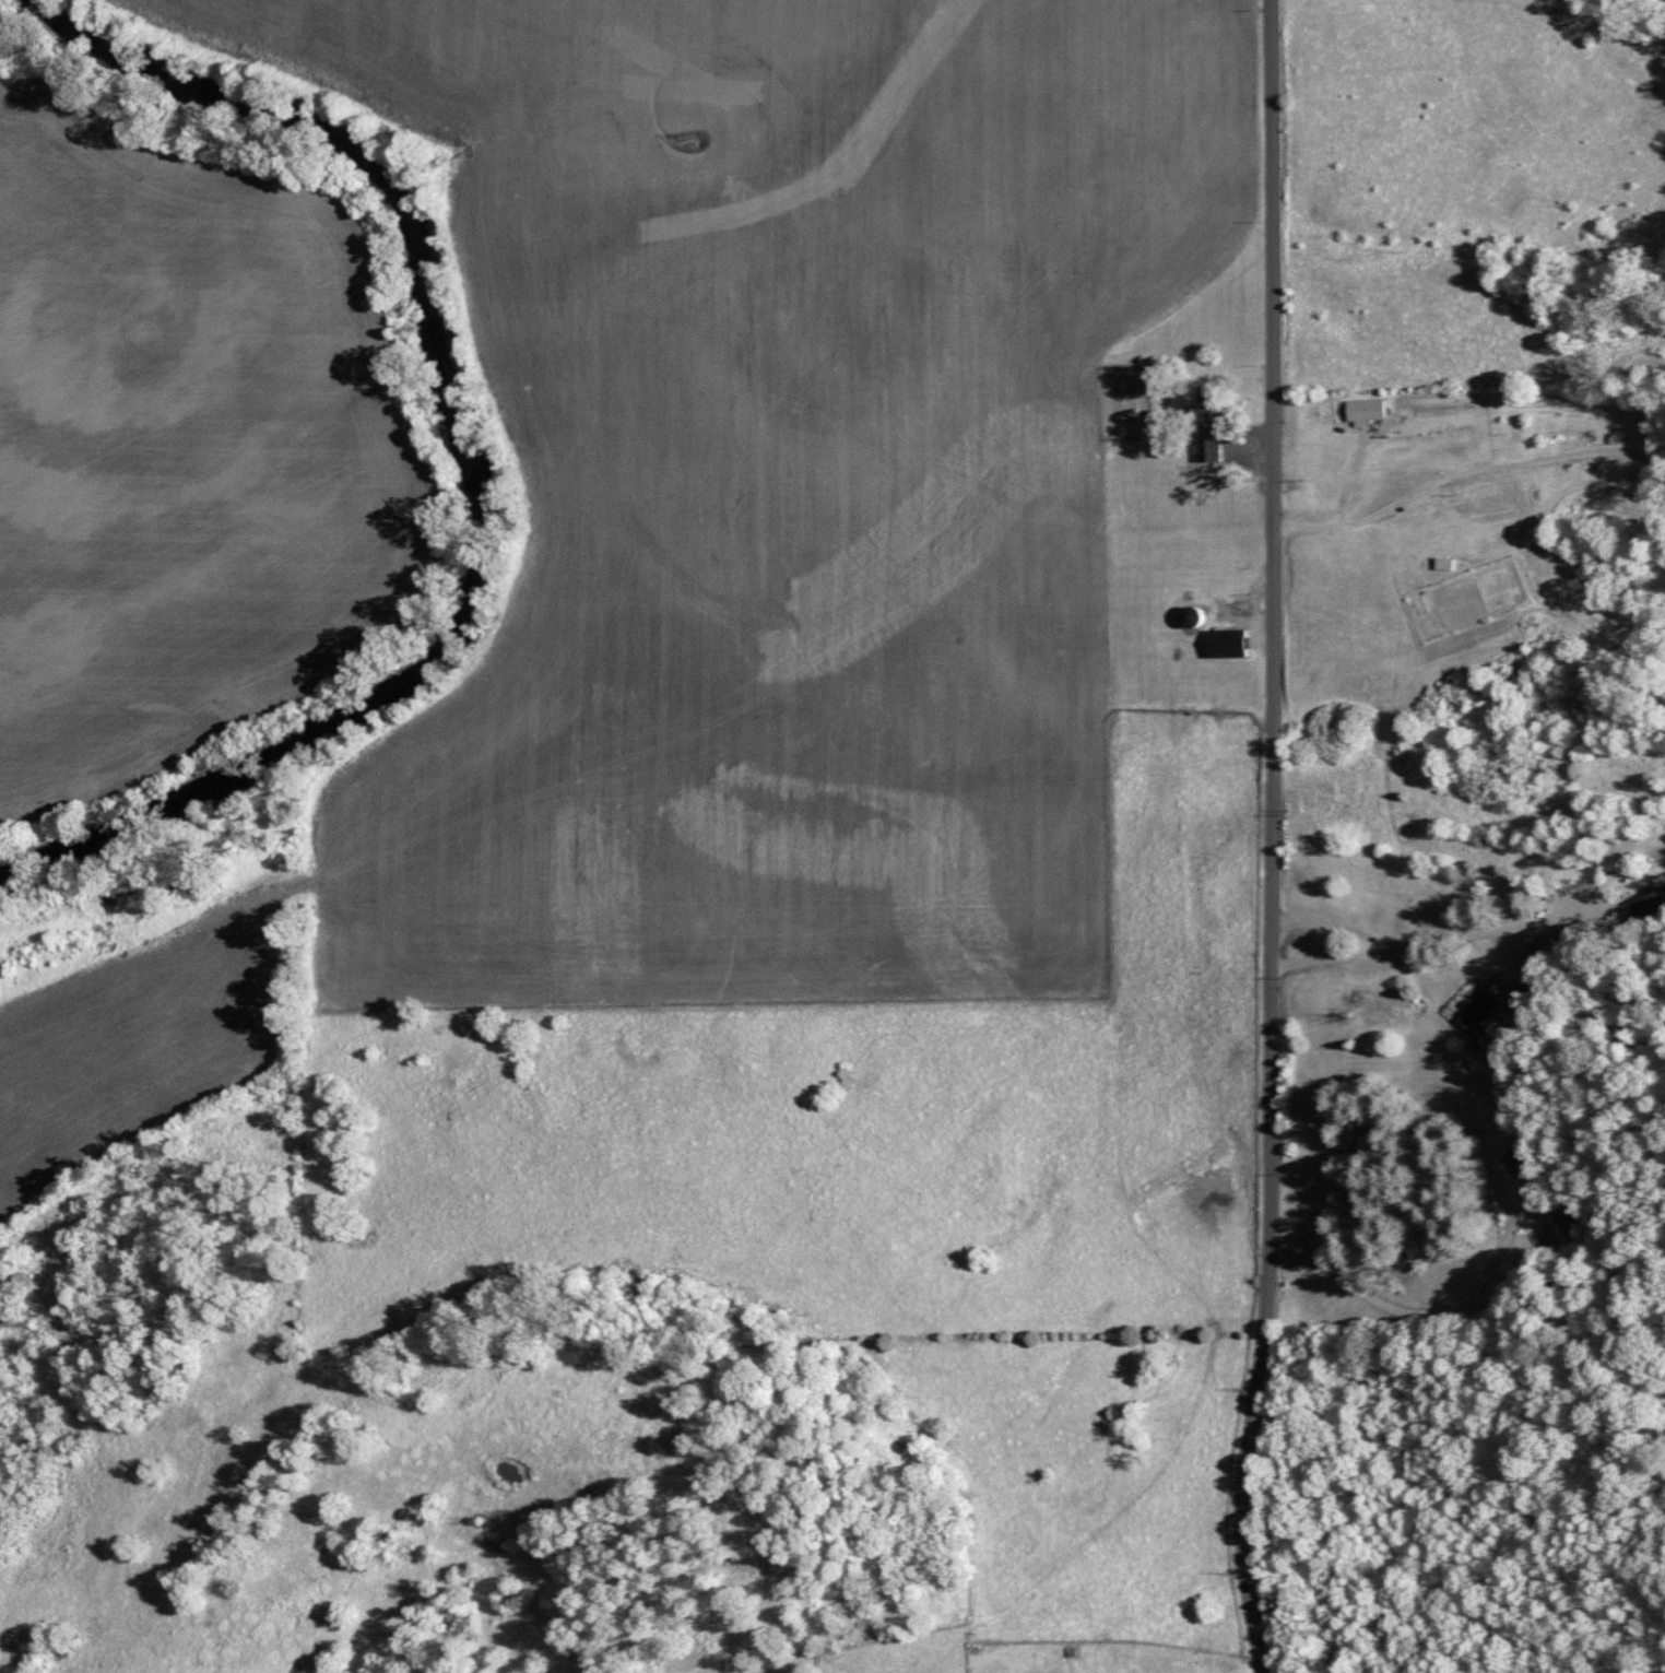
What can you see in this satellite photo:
building: (1205, 431)
river: (505, 461)
building: (1223, 641)
road: (1272, 838)
road: (1420, 945)
building: (1545, 951)
road: (1508, 961)
building: (1479, 1009)
building: (1515, 1161)

